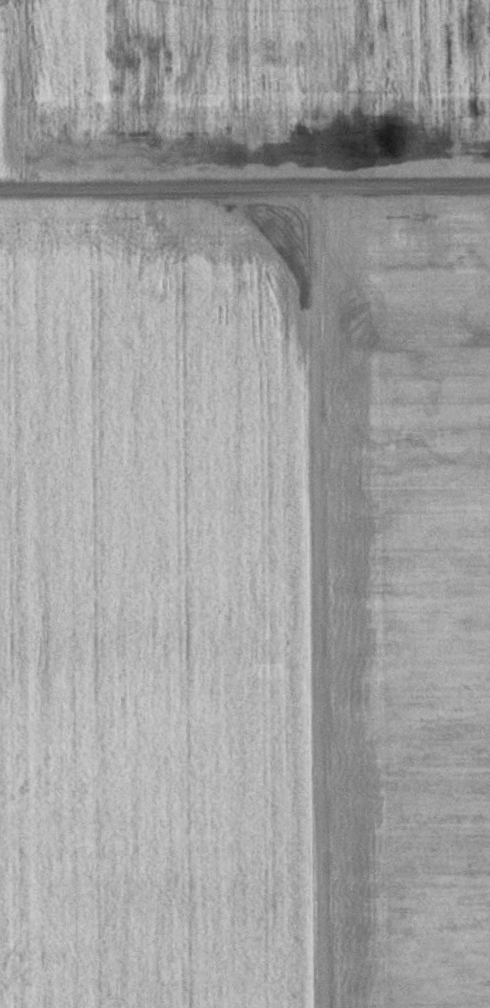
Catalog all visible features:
road: (245, 189)

